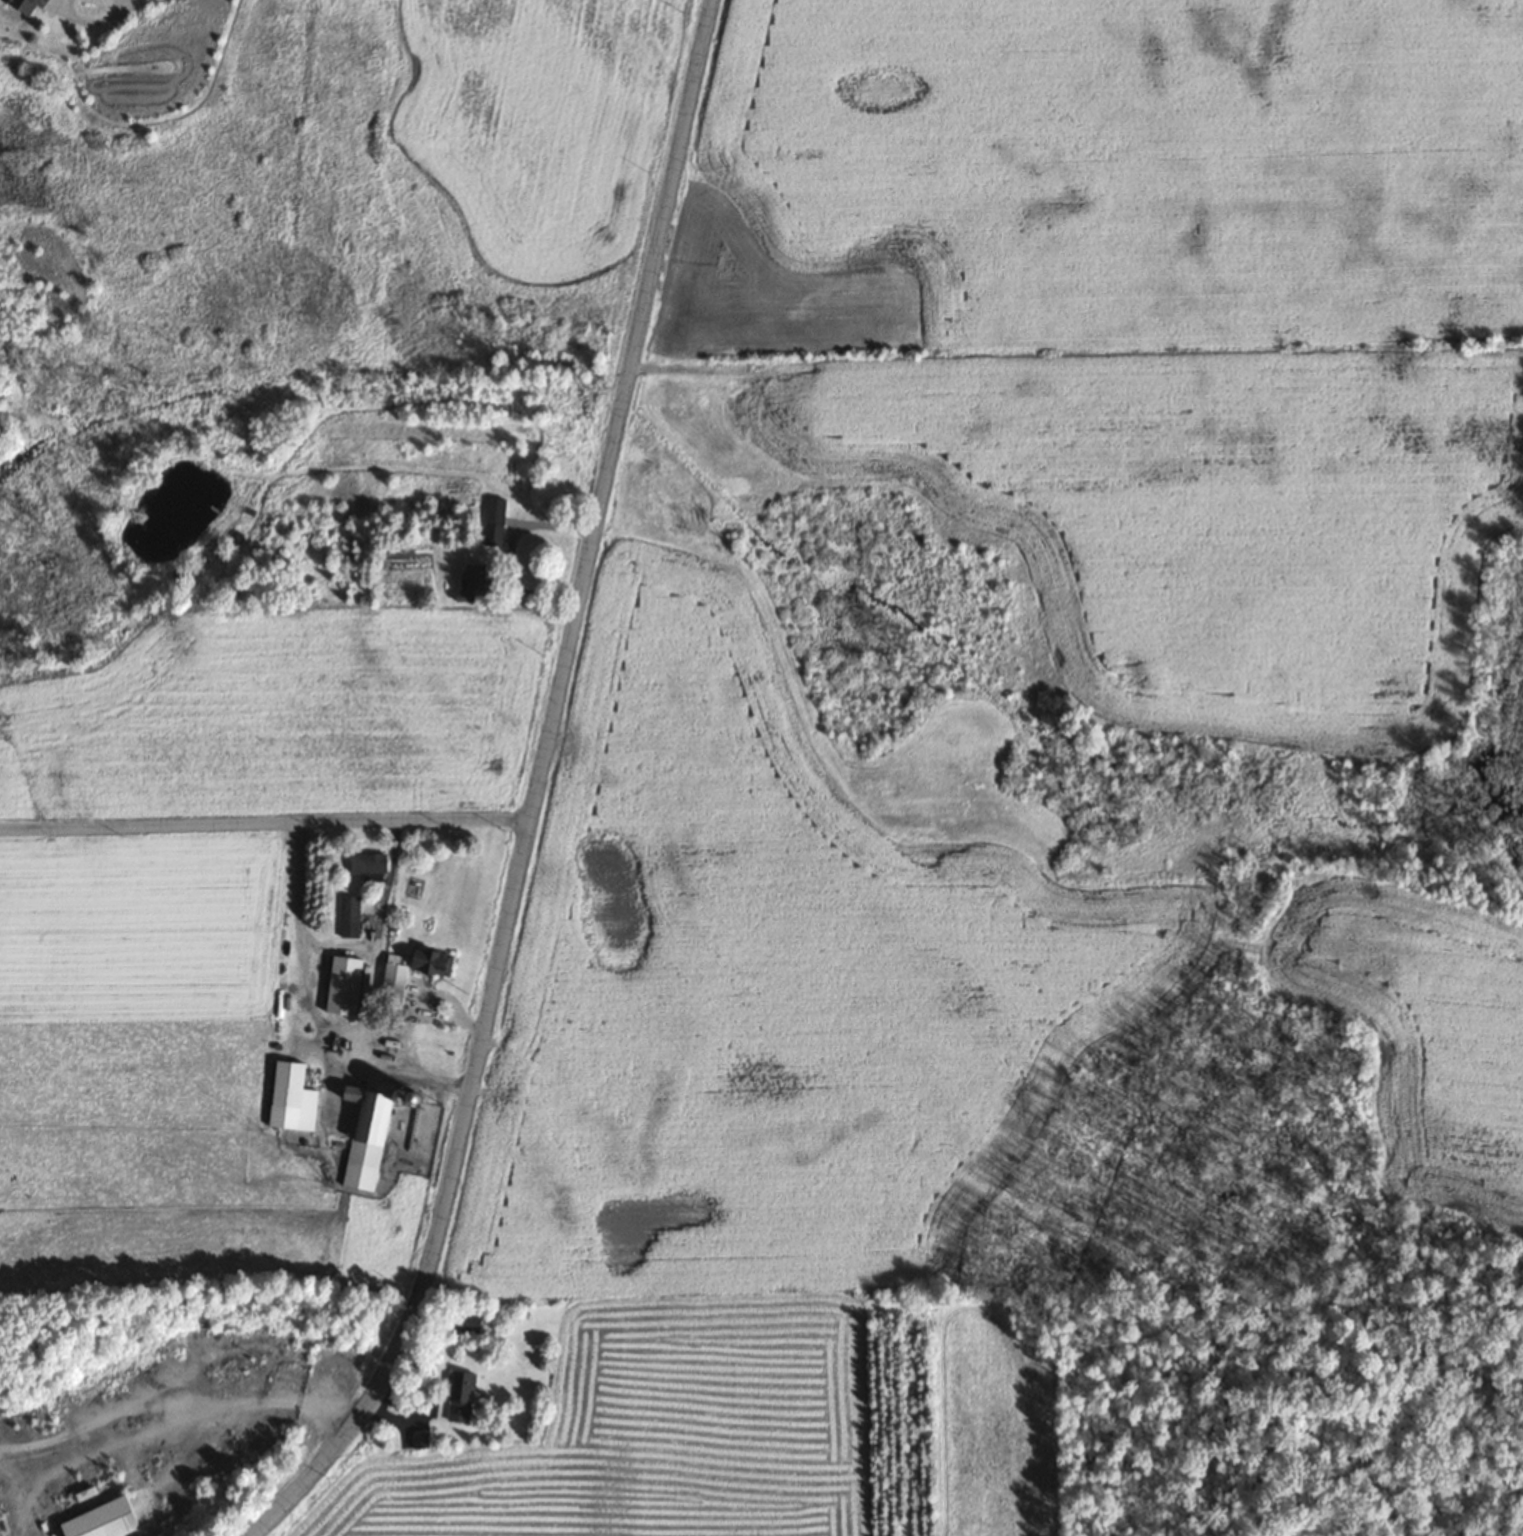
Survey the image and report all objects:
building: (20, 5)
road: (132, 8)
building: (491, 521)
building: (469, 577)
road: (537, 792)
road: (265, 823)
building: (366, 866)
building: (346, 916)
building: (339, 985)
building: (390, 988)
building: (289, 1098)
building: (368, 1128)
building: (466, 1321)
building: (284, 1373)
building: (455, 1397)
building: (97, 1520)

